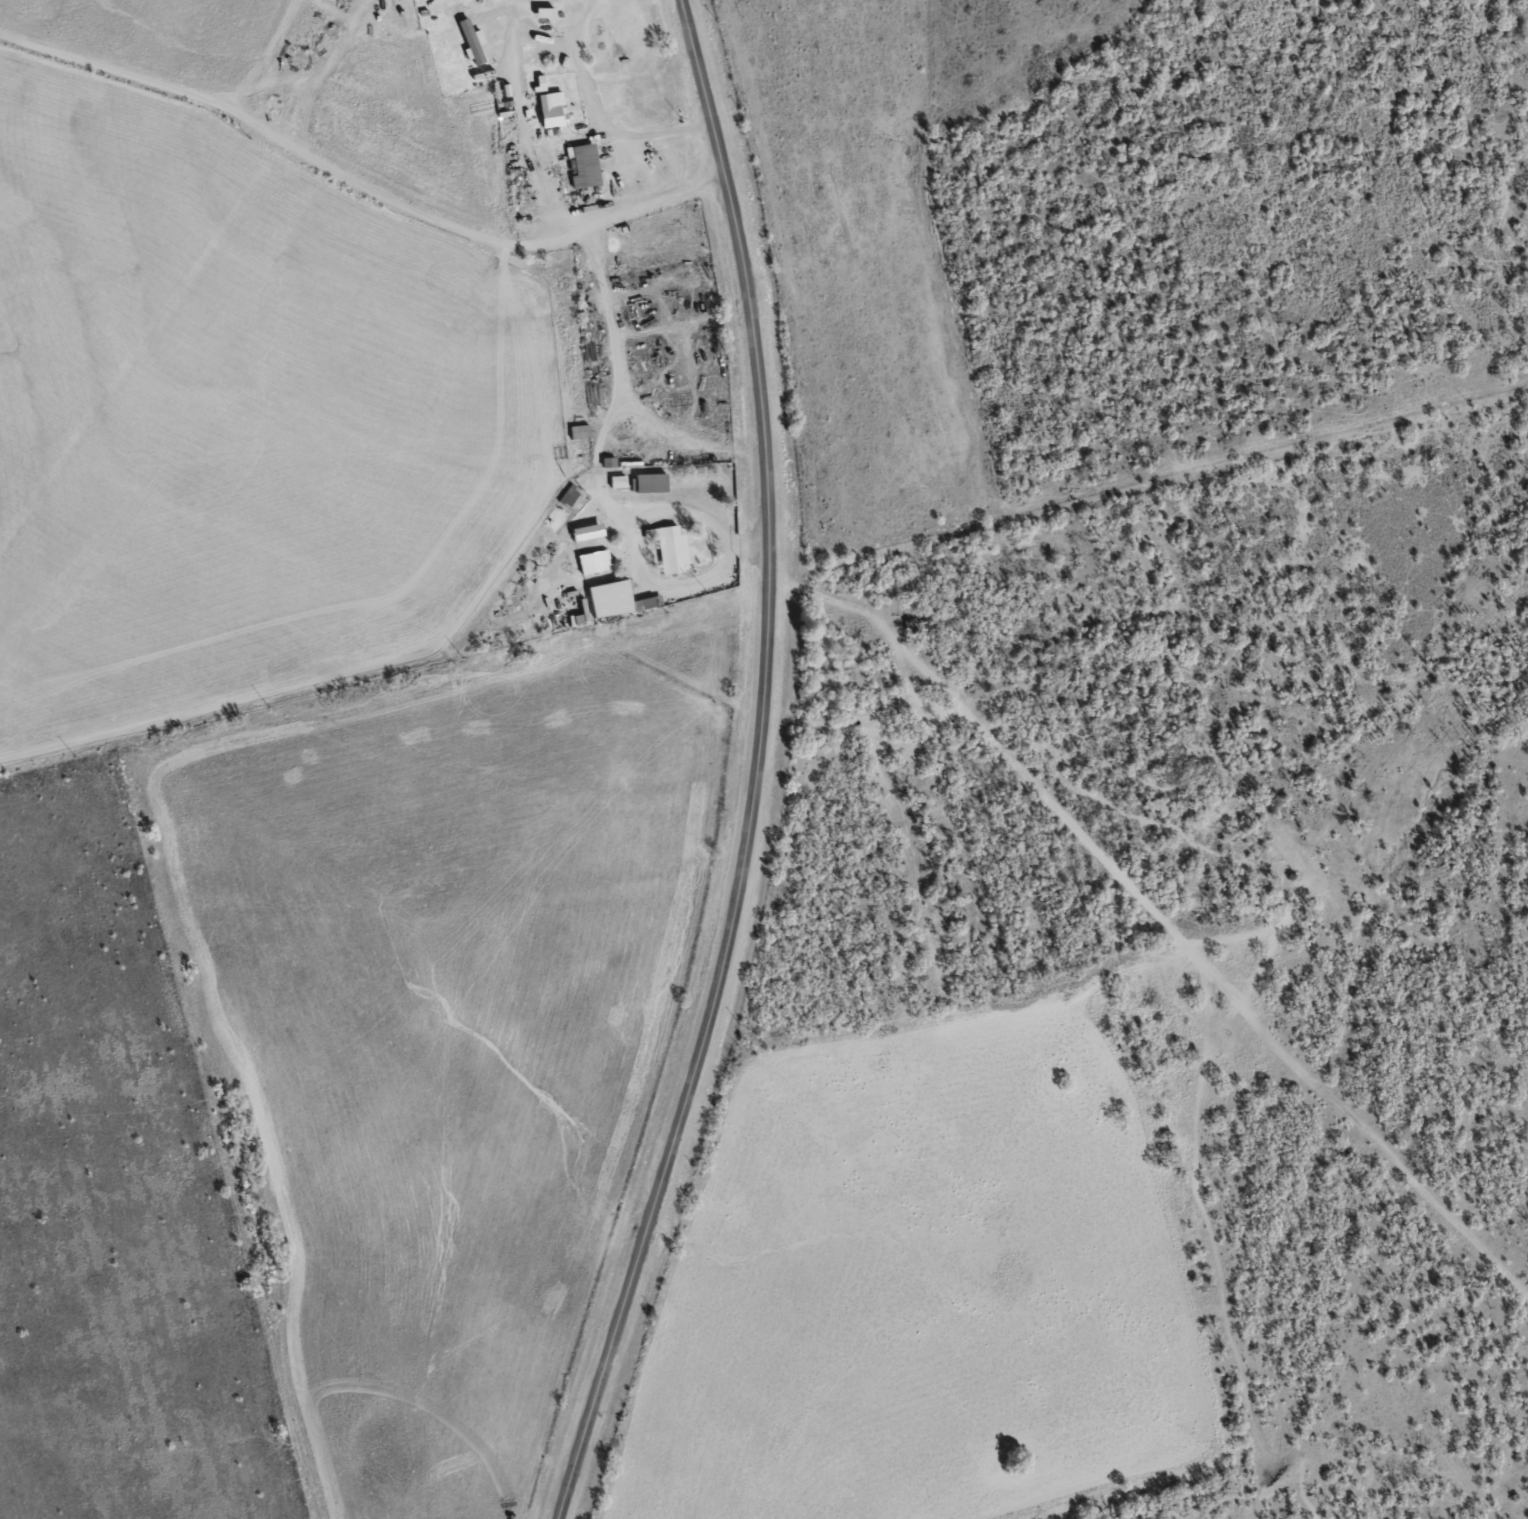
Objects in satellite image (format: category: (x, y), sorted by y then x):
building: (541, 82)
building: (554, 108)
building: (586, 164)
road: (623, 394)
building: (581, 430)
road: (683, 442)
building: (610, 461)
building: (619, 480)
building: (653, 481)
road: (1145, 505)
road: (688, 509)
building: (589, 530)
road: (750, 544)
building: (671, 546)
building: (596, 560)
building: (618, 598)
building: (577, 618)
road: (757, 768)

